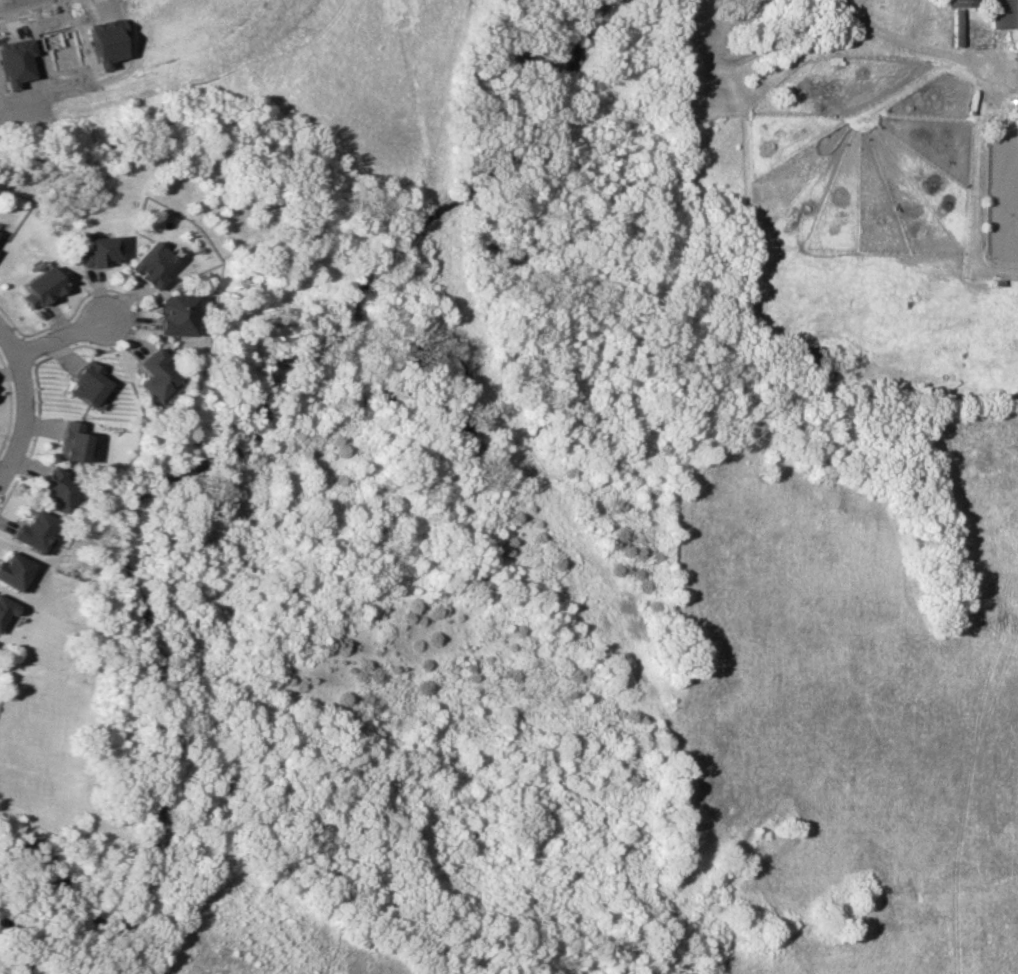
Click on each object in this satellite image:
road: (18, 1)
building: (962, 3)
building: (1003, 13)
road: (916, 21)
road: (903, 40)
road: (748, 55)
building: (97, 251)
building: (150, 265)
building: (41, 287)
building: (175, 314)
road: (65, 336)
building: (152, 374)
building: (86, 383)
road: (27, 402)
building: (69, 442)
building: (54, 489)
building: (33, 530)
building: (13, 570)
building: (6, 608)

